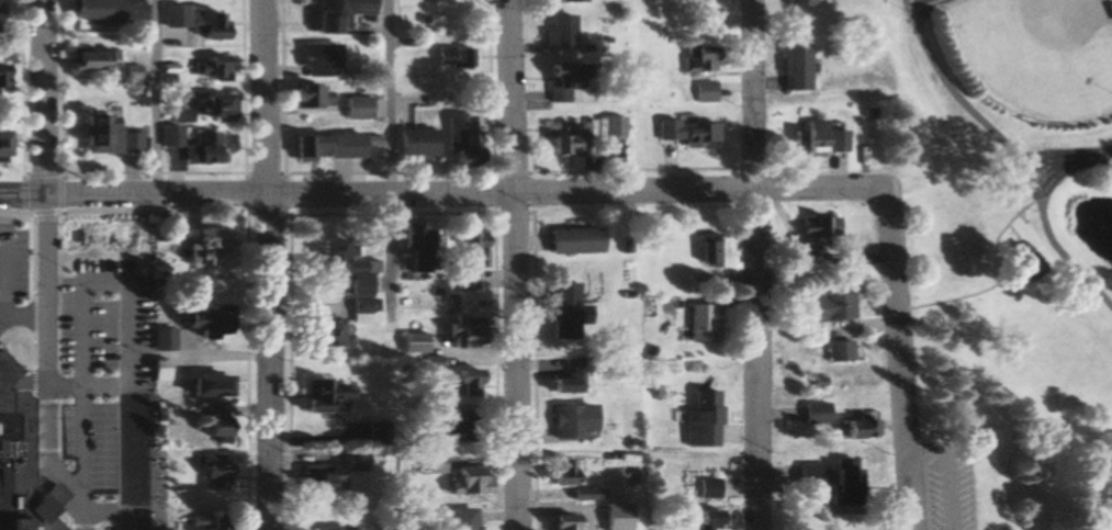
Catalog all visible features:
building: (572, 0)
building: (91, 10)
building: (335, 14)
building: (171, 16)
building: (204, 25)
building: (557, 32)
park: (1034, 55)
building: (315, 58)
building: (451, 58)
building: (697, 59)
building: (80, 60)
building: (790, 66)
building: (207, 67)
building: (126, 71)
building: (1, 76)
building: (561, 82)
building: (703, 92)
building: (307, 97)
road: (154, 100)
building: (215, 106)
building: (356, 109)
building: (177, 116)
building: (686, 133)
building: (580, 136)
building: (101, 137)
building: (167, 137)
building: (456, 139)
building: (816, 139)
building: (0, 144)
building: (411, 144)
building: (324, 148)
building: (201, 149)
road: (389, 167)
road: (583, 191)
road: (135, 201)
building: (817, 226)
building: (569, 240)
building: (92, 243)
building: (199, 246)
building: (415, 249)
building: (704, 249)
building: (136, 255)
park: (1011, 256)
building: (468, 258)
building: (1020, 262)
road: (48, 264)
road: (270, 264)
road: (515, 264)
road: (756, 264)
building: (340, 266)
building: (695, 283)
building: (829, 306)
building: (558, 308)
building: (361, 316)
building: (203, 319)
building: (697, 322)
building: (87, 323)
building: (462, 330)
building: (315, 331)
building: (149, 339)
building: (409, 342)
building: (839, 350)
building: (427, 367)
building: (159, 370)
building: (4, 371)
road: (901, 372)
building: (97, 375)
building: (562, 381)
building: (462, 382)
building: (204, 384)
building: (315, 394)
building: (700, 413)
building: (813, 413)
building: (7, 419)
building: (568, 421)
building: (214, 424)
building: (853, 427)
building: (109, 429)
building: (437, 429)
building: (356, 461)
building: (429, 464)
building: (106, 470)
building: (213, 471)
building: (564, 472)
building: (807, 476)
building: (321, 478)
building: (839, 481)
building: (471, 482)
building: (707, 487)
parking lot: (937, 487)
building: (9, 494)
building: (126, 506)
building: (613, 516)
building: (159, 518)
building: (461, 518)
building: (703, 520)
building: (213, 521)
building: (559, 521)
building: (339, 528)

